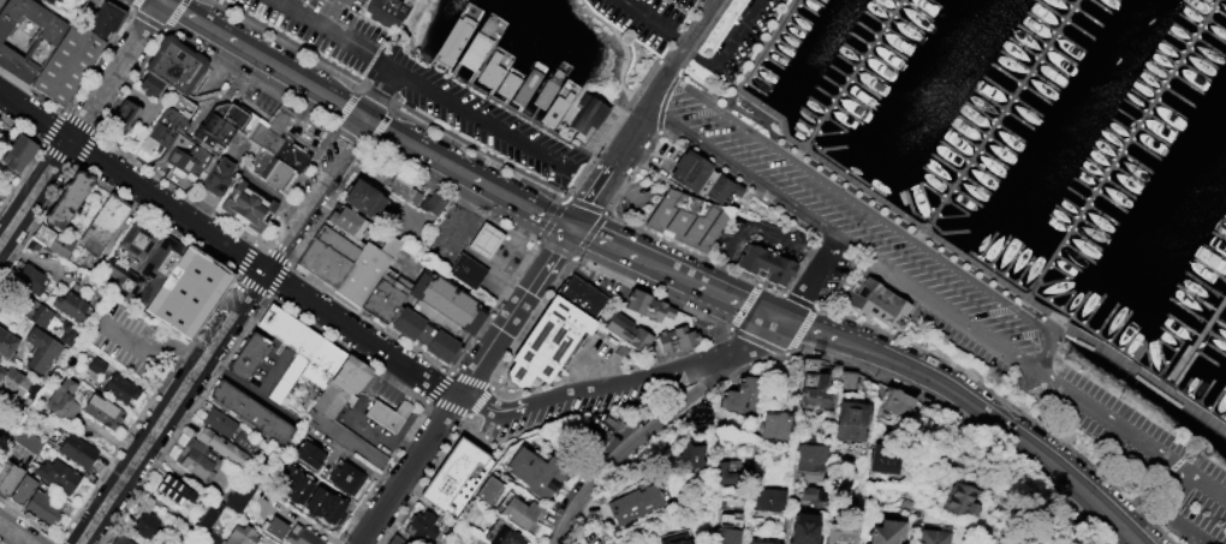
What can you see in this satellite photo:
building: (56, 0)
road: (715, 0)
building: (0, 1)
building: (48, 1)
building: (403, 1)
building: (386, 13)
road: (173, 14)
building: (105, 19)
road: (656, 20)
road: (155, 24)
road: (327, 26)
parking lot: (323, 30)
road: (406, 30)
road: (694, 34)
building: (26, 38)
building: (453, 40)
road: (292, 42)
road: (285, 44)
road: (725, 46)
building: (475, 49)
road: (624, 50)
road: (264, 59)
road: (385, 60)
road: (367, 64)
building: (67, 65)
road: (220, 65)
building: (171, 66)
building: (490, 70)
pier: (859, 70)
road: (224, 72)
building: (558, 73)
road: (248, 77)
building: (507, 84)
road: (196, 86)
building: (526, 86)
road: (370, 90)
road: (379, 92)
building: (546, 92)
road: (192, 100)
road: (345, 107)
building: (555, 108)
road: (198, 110)
pier: (1004, 114)
building: (587, 116)
building: (124, 118)
road: (483, 118)
road: (79, 120)
building: (221, 120)
parking lot: (486, 124)
building: (162, 127)
road: (341, 132)
fountain: (179, 139)
road: (178, 144)
road: (619, 148)
pier: (1129, 149)
building: (18, 153)
building: (275, 154)
road: (588, 159)
building: (192, 161)
road: (154, 163)
road: (465, 174)
railway: (588, 174)
building: (220, 175)
road: (739, 175)
building: (707, 183)
road: (379, 189)
building: (404, 191)
building: (69, 197)
building: (363, 198)
building: (432, 202)
building: (248, 208)
building: (345, 219)
road: (879, 219)
building: (688, 221)
road: (748, 222)
building: (106, 223)
traffic signals: (569, 228)
parking lot: (864, 237)
building: (55, 240)
building: (139, 240)
building: (484, 240)
building: (35, 245)
road: (227, 249)
building: (326, 256)
building: (766, 268)
building: (363, 269)
building: (466, 270)
road: (676, 274)
building: (30, 277)
building: (126, 277)
road: (808, 280)
building: (581, 293)
building: (188, 294)
building: (383, 298)
building: (877, 303)
building: (647, 304)
building: (73, 306)
road: (938, 307)
building: (44, 316)
building: (436, 316)
building: (292, 330)
road: (221, 331)
building: (627, 331)
building: (70, 333)
building: (676, 337)
road: (762, 337)
parking lot: (129, 340)
building: (7, 342)
building: (547, 342)
road: (149, 347)
pier: (1198, 347)
building: (43, 348)
building: (251, 355)
building: (326, 363)
building: (813, 365)
building: (99, 366)
building: (1, 371)
road: (272, 371)
street lamp: (444, 371)
building: (353, 373)
building: (290, 377)
road: (635, 378)
building: (847, 379)
building: (16, 382)
road: (464, 385)
building: (121, 389)
building: (817, 393)
building: (740, 396)
building: (64, 399)
building: (333, 400)
building: (898, 402)
road: (493, 407)
road: (976, 407)
building: (105, 412)
building: (254, 412)
building: (391, 414)
building: (851, 419)
building: (222, 423)
building: (775, 425)
road: (629, 430)
building: (29, 440)
road: (1141, 440)
building: (248, 441)
building: (225, 447)
building: (79, 452)
building: (808, 452)
parking lot: (1143, 452)
building: (311, 454)
building: (691, 454)
building: (887, 458)
building: (201, 459)
building: (540, 471)
building: (451, 474)
building: (730, 474)
building: (60, 476)
building: (8, 477)
building: (349, 478)
building: (296, 484)
building: (24, 489)
building: (177, 490)
building: (494, 491)
building: (815, 496)
building: (242, 497)
building: (845, 497)
building: (964, 497)
building: (767, 498)
building: (635, 503)
railway: (1176, 504)
building: (328, 506)
building: (44, 507)
building: (524, 512)
building: (212, 515)
road: (1170, 515)
building: (148, 524)
building: (421, 526)
building: (278, 527)
building: (804, 527)
building: (887, 530)
road: (14, 533)
building: (841, 533)
building: (731, 534)
building: (244, 536)
building: (933, 536)
building: (304, 537)
building: (508, 537)
building: (215, 538)
building: (124, 539)
building: (399, 540)
building: (678, 542)
building: (763, 543)

